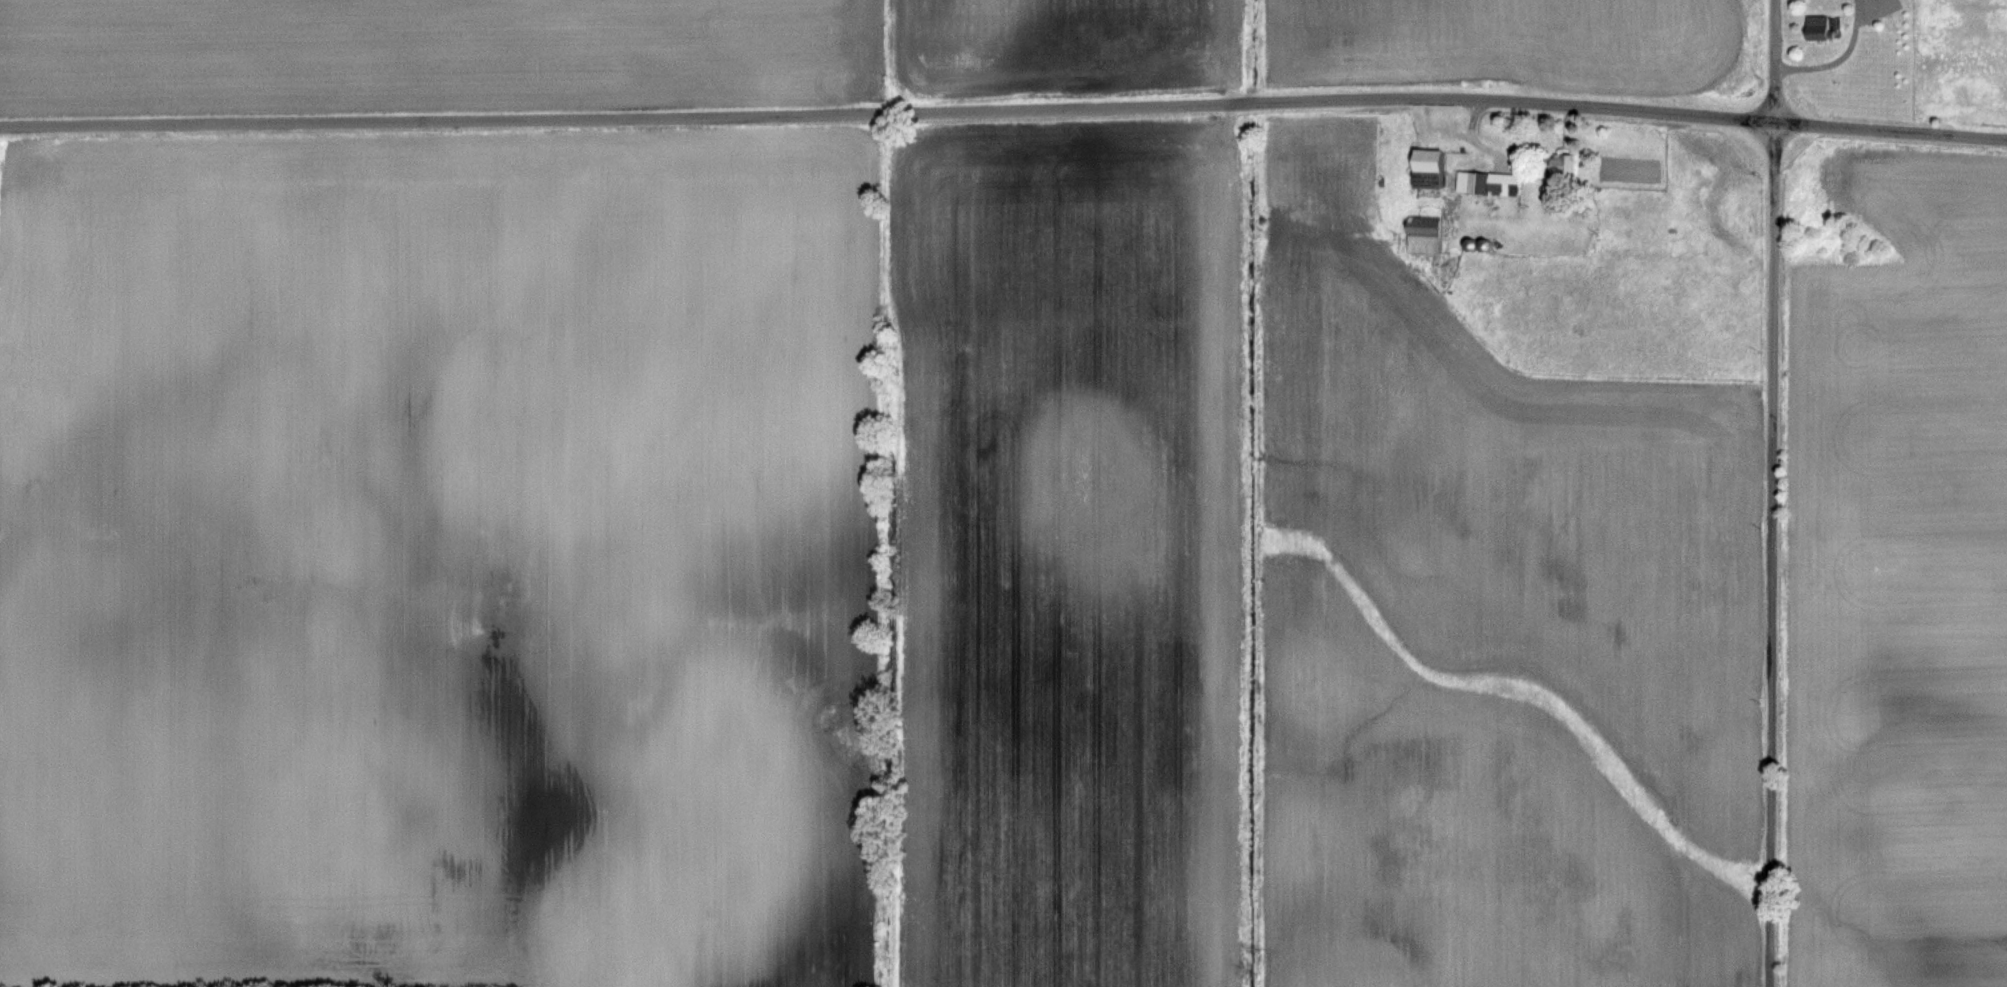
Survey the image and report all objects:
building: (1818, 27)
road: (886, 114)
road: (1889, 129)
building: (1563, 162)
building: (1426, 168)
building: (1487, 183)
building: (1423, 234)
road: (1772, 493)

